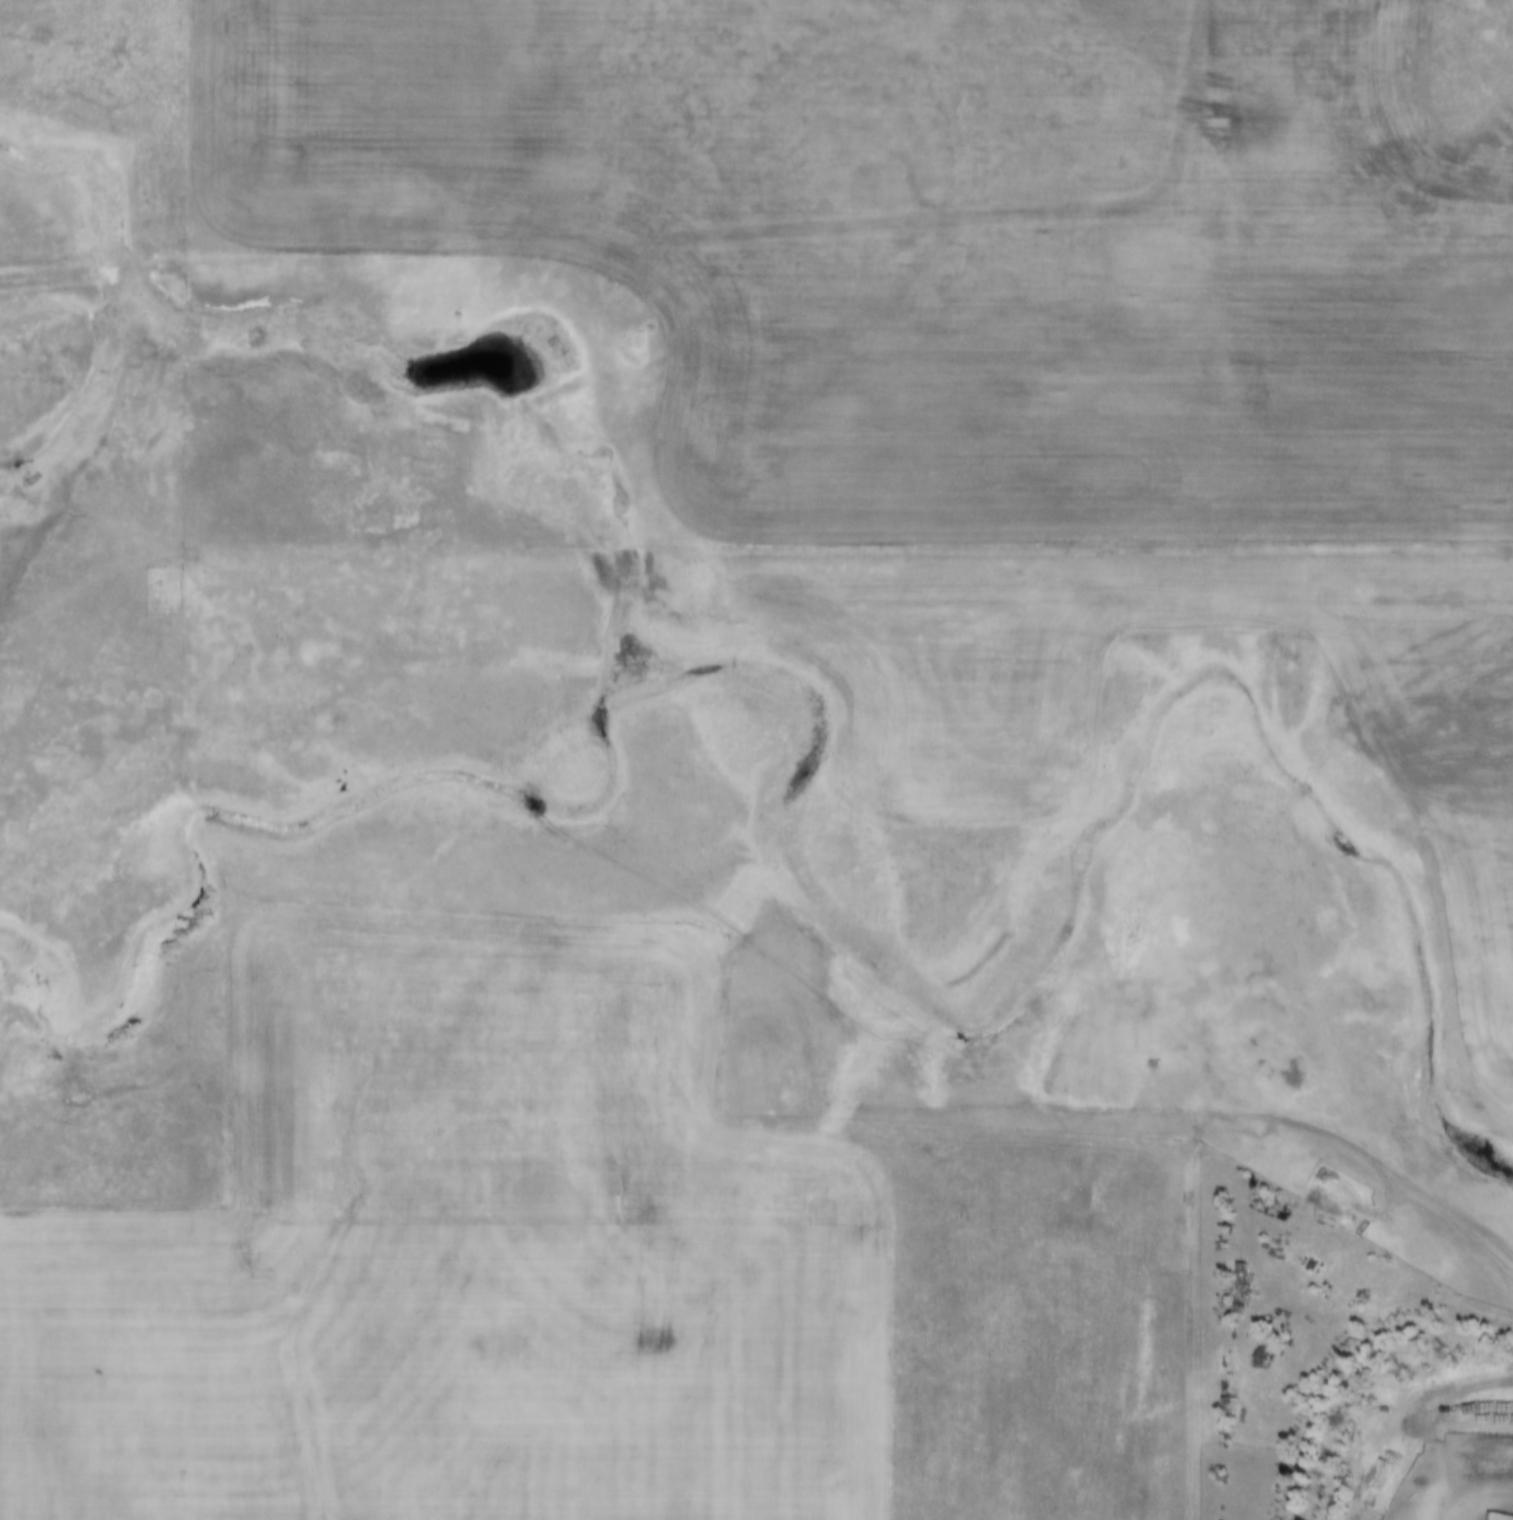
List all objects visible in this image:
road: (681, 233)
building: (1324, 1084)
building: (1239, 1289)

